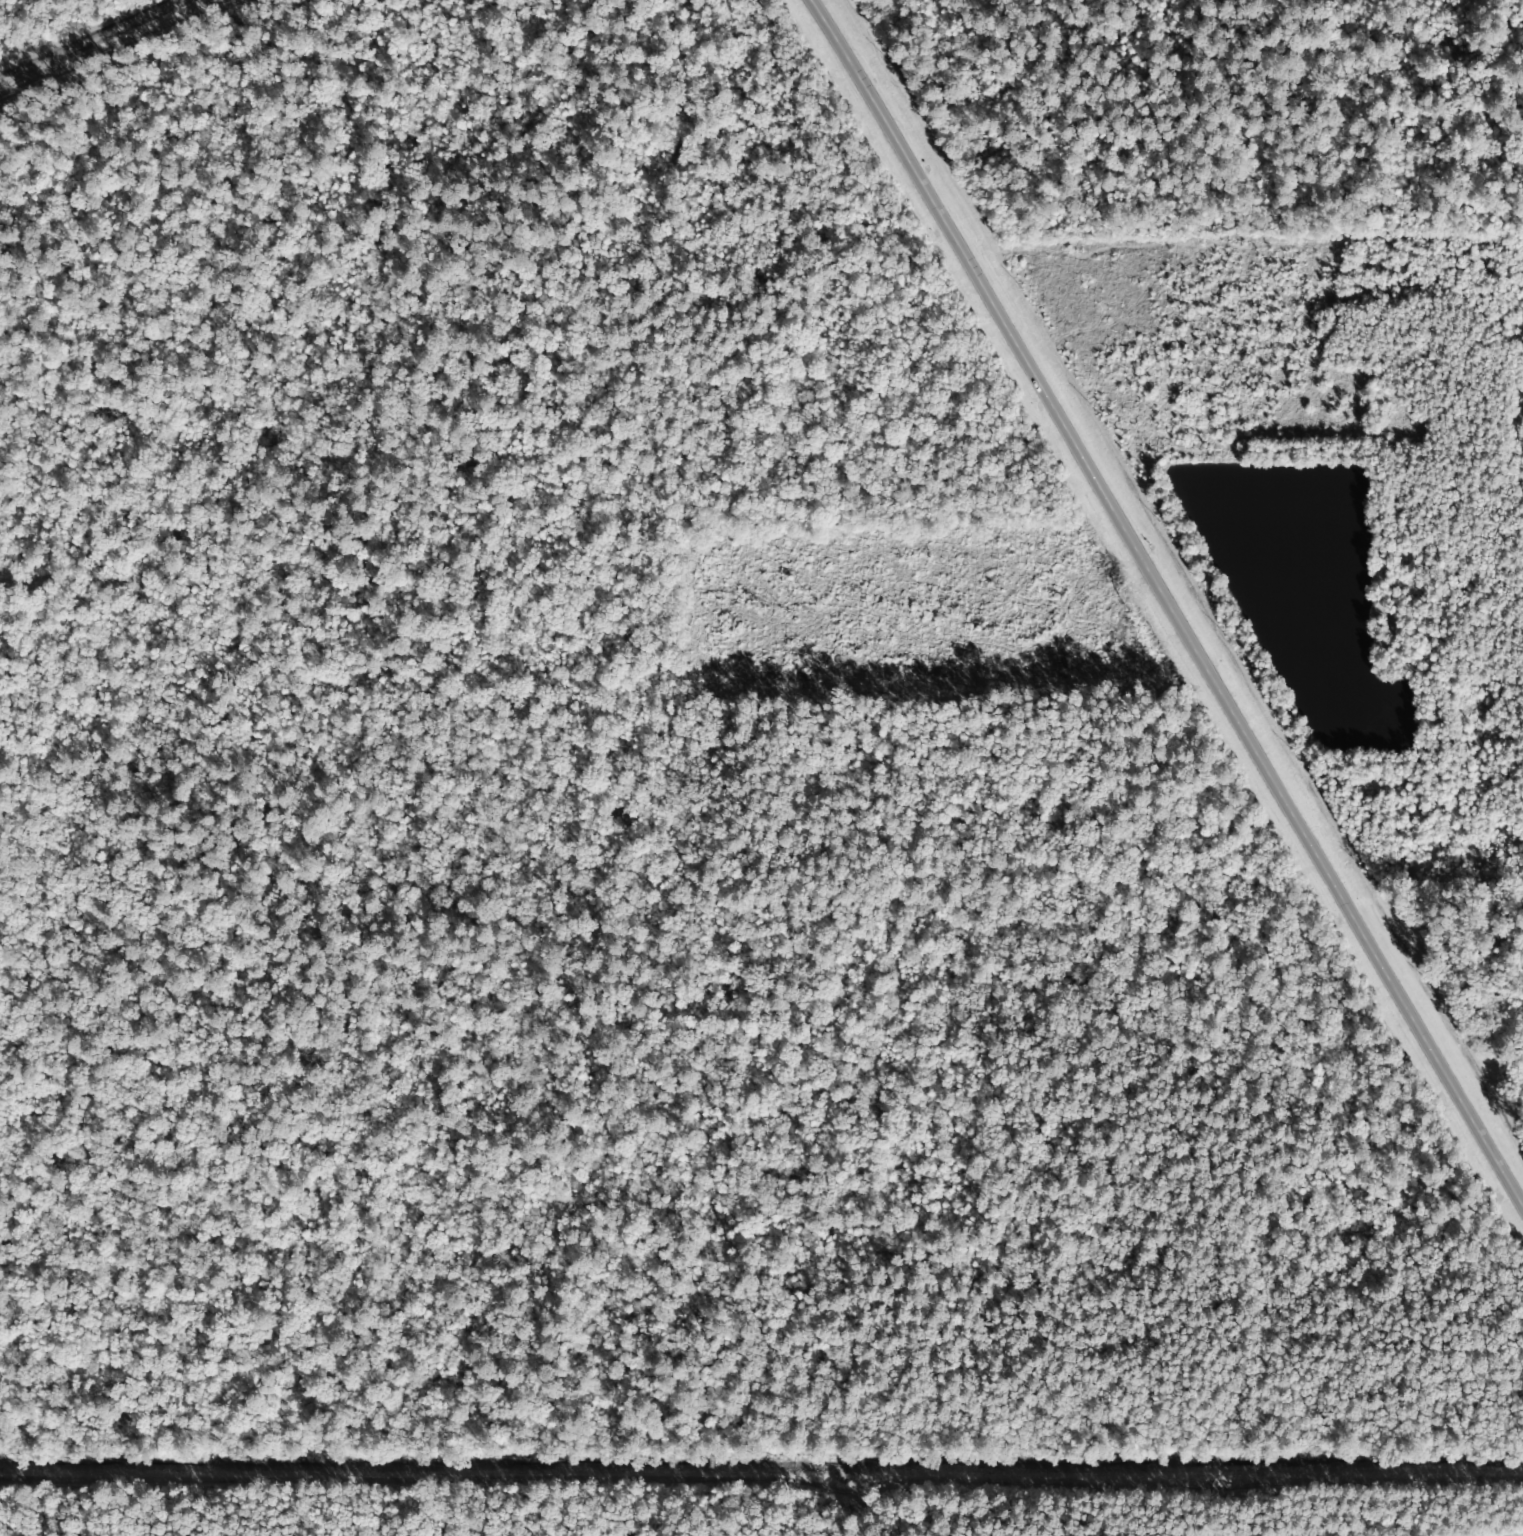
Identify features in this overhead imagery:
road: (85, 38)
road: (1167, 601)

